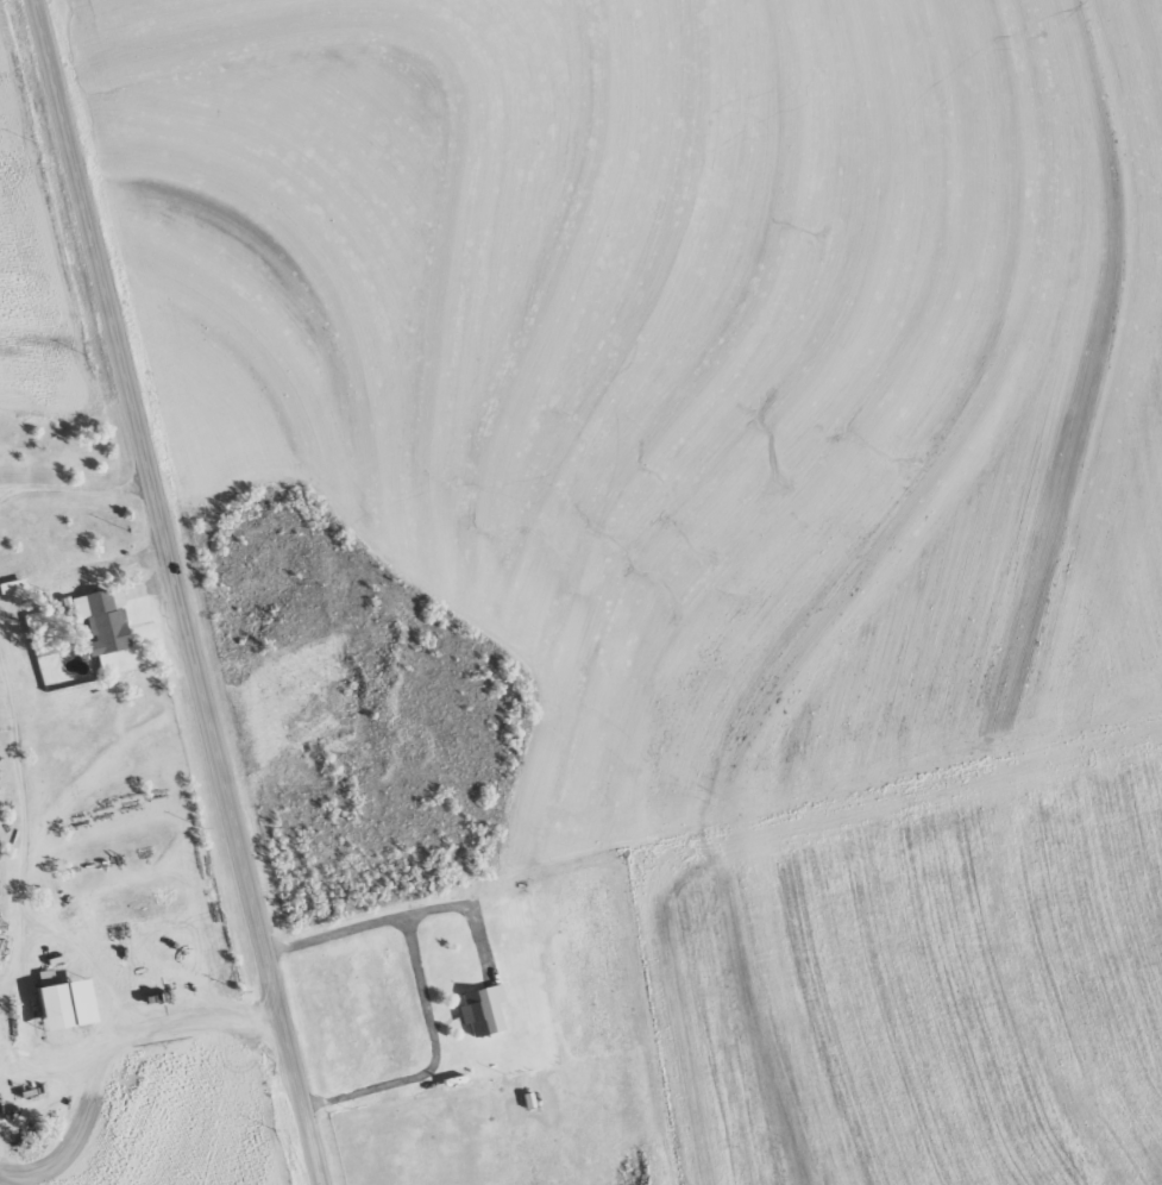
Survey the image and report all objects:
road: (182, 592)
building: (93, 609)
building: (57, 1003)
building: (482, 1005)

